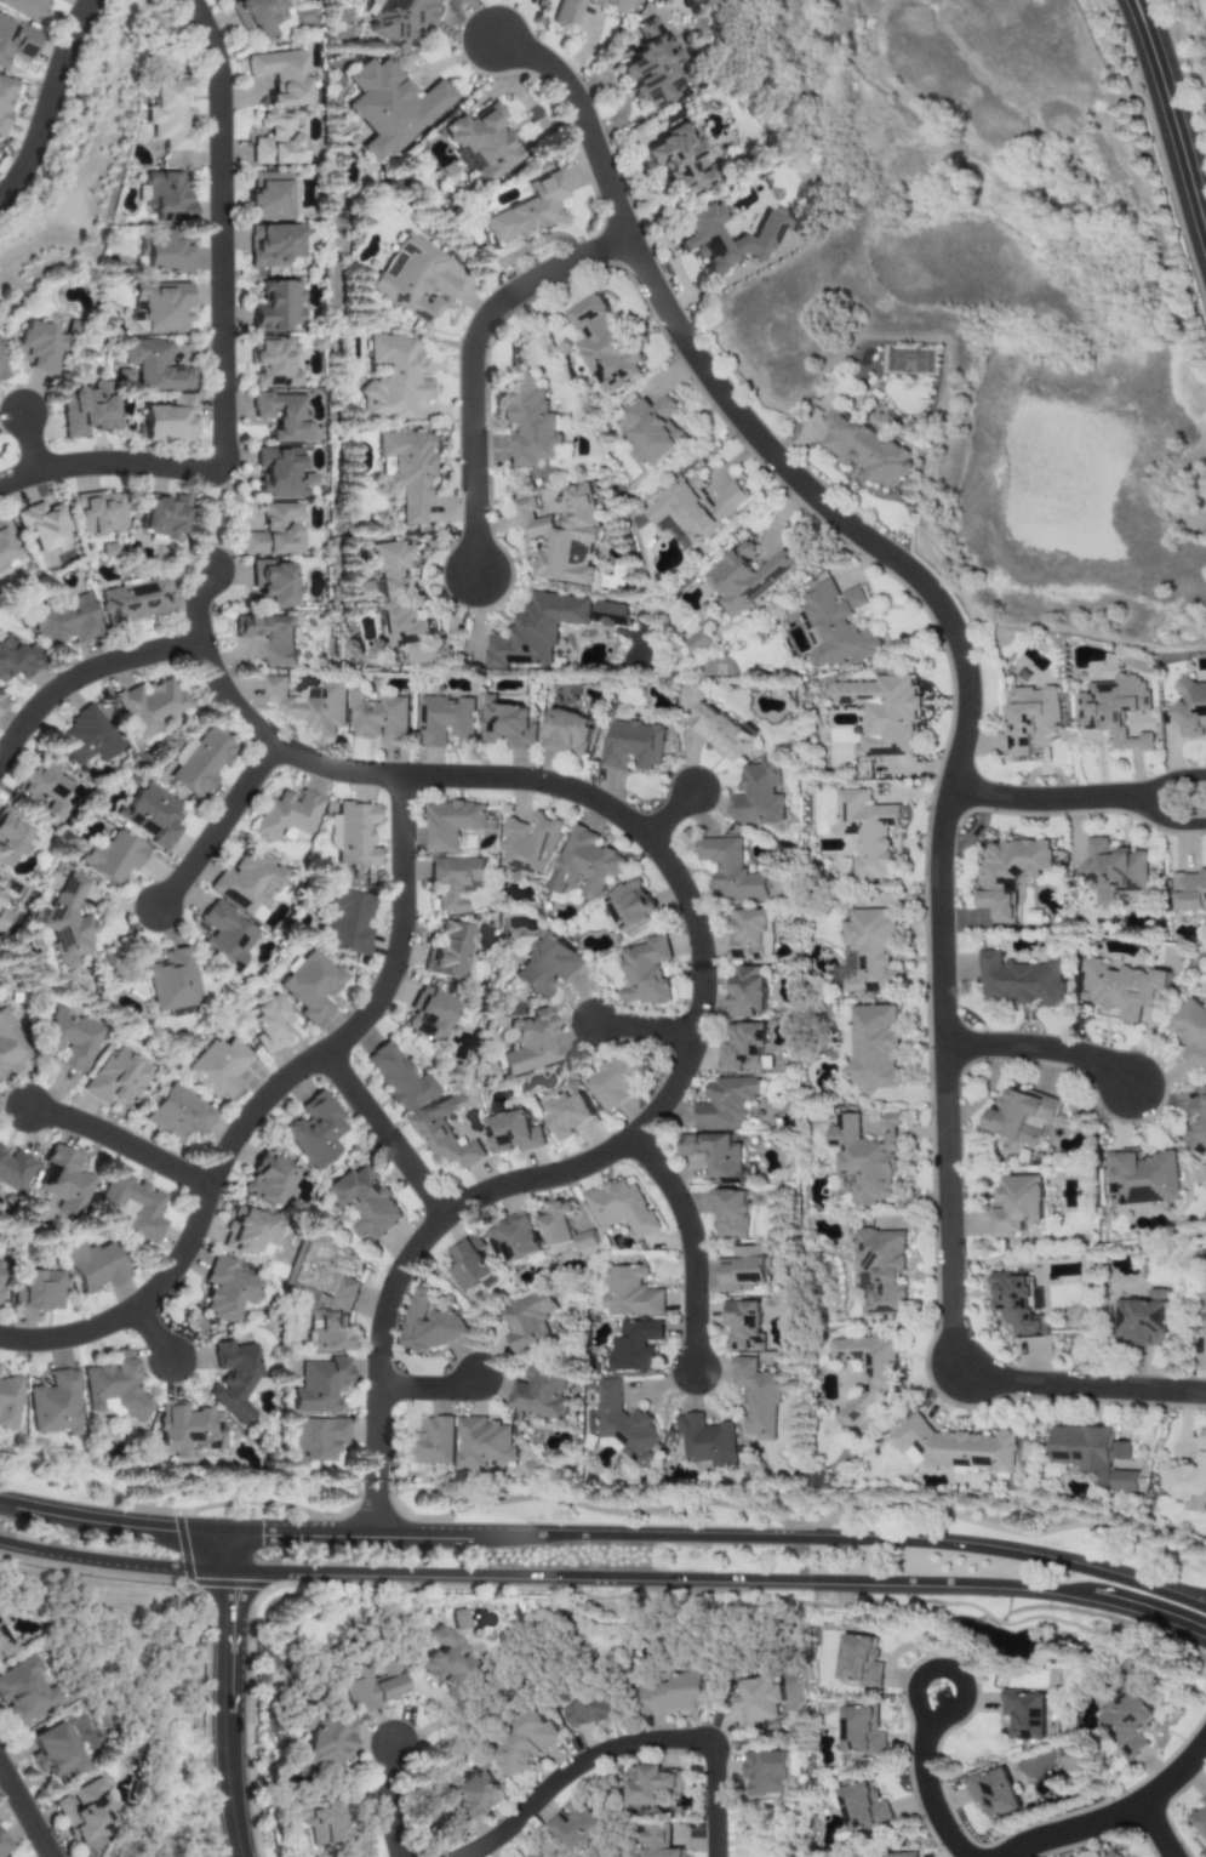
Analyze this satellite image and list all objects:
building: (24, 7)
building: (565, 11)
building: (257, 16)
building: (395, 17)
road: (479, 19)
building: (16, 40)
road: (1108, 55)
building: (648, 67)
building: (279, 75)
building: (4, 101)
fountain: (18, 101)
road: (51, 103)
building: (389, 107)
road: (1176, 108)
building: (168, 114)
building: (278, 141)
building: (479, 143)
building: (676, 160)
building: (164, 193)
building: (270, 196)
building: (526, 211)
road: (224, 230)
building: (696, 241)
building: (274, 246)
building: (165, 251)
building: (413, 279)
building: (160, 307)
building: (279, 307)
building: (605, 344)
building: (35, 348)
building: (275, 363)
road: (474, 363)
building: (155, 365)
building: (1, 371)
building: (393, 378)
building: (87, 410)
building: (284, 416)
building: (168, 421)
building: (532, 423)
building: (656, 431)
road: (33, 445)
building: (867, 450)
road: (110, 465)
building: (406, 471)
building: (281, 473)
building: (698, 507)
building: (98, 513)
building: (161, 517)
building: (41, 526)
building: (275, 531)
building: (565, 537)
building: (6, 546)
building: (749, 577)
building: (273, 583)
building: (393, 596)
building: (133, 602)
building: (613, 615)
building: (64, 621)
building: (838, 626)
building: (538, 631)
building: (268, 637)
building: (702, 642)
building: (16, 659)
road: (82, 678)
building: (0, 701)
building: (309, 704)
building: (148, 705)
building: (1193, 708)
building: (1116, 710)
building: (882, 714)
building: (1033, 718)
building: (382, 719)
building: (448, 722)
building: (511, 724)
building: (724, 731)
building: (572, 733)
building: (87, 736)
road: (962, 739)
building: (635, 745)
building: (201, 764)
road: (532, 779)
road: (1174, 785)
building: (44, 791)
building: (761, 796)
road: (1048, 802)
road: (670, 808)
building: (152, 815)
building: (288, 816)
road: (1174, 820)
building: (453, 824)
road: (219, 831)
building: (331, 831)
building: (868, 832)
building: (355, 833)
building: (13, 838)
building: (532, 844)
building: (109, 858)
building: (587, 864)
building: (732, 868)
building: (1113, 871)
building: (1010, 875)
building: (455, 881)
building: (0, 885)
building: (1190, 890)
building: (633, 906)
building: (1, 917)
building: (347, 922)
building: (64, 923)
building: (749, 934)
building: (223, 938)
building: (448, 951)
building: (871, 951)
building: (547, 967)
building: (647, 973)
building: (1021, 980)
building: (170, 981)
building: (309, 985)
road: (400, 989)
building: (1124, 990)
building: (749, 991)
building: (429, 1014)
building: (269, 1024)
road: (645, 1030)
building: (1193, 1032)
building: (68, 1039)
building: (527, 1043)
building: (7, 1044)
building: (876, 1047)
road: (1041, 1048)
building: (744, 1049)
building: (217, 1067)
building: (115, 1080)
building: (399, 1080)
building: (615, 1082)
building: (725, 1104)
road: (262, 1105)
building: (178, 1115)
building: (568, 1116)
building: (1022, 1116)
building: (314, 1130)
building: (1198, 1130)
building: (515, 1133)
building: (445, 1134)
road: (383, 1135)
road: (122, 1141)
building: (716, 1156)
building: (868, 1160)
building: (13, 1170)
building: (1142, 1178)
building: (267, 1179)
building: (63, 1181)
building: (365, 1202)
building: (132, 1206)
building: (1018, 1206)
building: (623, 1208)
building: (731, 1214)
building: (247, 1231)
building: (566, 1231)
building: (519, 1238)
road: (692, 1246)
road: (404, 1264)
building: (470, 1264)
building: (92, 1266)
building: (882, 1270)
building: (1, 1271)
building: (225, 1289)
building: (36, 1291)
building: (633, 1293)
building: (1018, 1306)
building: (1145, 1318)
building: (335, 1320)
building: (431, 1321)
building: (530, 1322)
building: (744, 1326)
road: (155, 1337)
building: (639, 1346)
building: (868, 1378)
building: (233, 1379)
building: (112, 1385)
building: (319, 1385)
road: (428, 1386)
building: (542, 1394)
building: (760, 1397)
building: (7, 1402)
building: (53, 1403)
building: (628, 1425)
building: (184, 1430)
building: (316, 1439)
building: (709, 1441)
building: (485, 1442)
building: (429, 1443)
building: (955, 1448)
building: (1094, 1456)
building: (1185, 1477)
road: (115, 1517)
road: (724, 1537)
road: (234, 1551)
road: (115, 1567)
road: (722, 1585)
building: (461, 1619)
building: (4, 1645)
building: (450, 1662)
building: (856, 1663)
building: (372, 1685)
building: (24, 1692)
building: (678, 1694)
building: (756, 1702)
building: (594, 1711)
road: (234, 1716)
building: (1021, 1718)
building: (1124, 1722)
building: (858, 1733)
building: (326, 1741)
building: (527, 1743)
road: (627, 1744)
building: (55, 1753)
building: (765, 1775)
road: (928, 1779)
building: (653, 1784)
building: (470, 1793)
building: (991, 1794)
road: (391, 1800)
road: (28, 1810)
building: (859, 1810)
building: (86, 1816)
building: (1198, 1819)
road: (1113, 1821)
building: (319, 1823)
building: (579, 1825)
road: (1158, 1832)
building: (656, 1842)
building: (4, 1846)
building: (538, 1853)
building: (1116, 1855)
building: (893, 1856)

